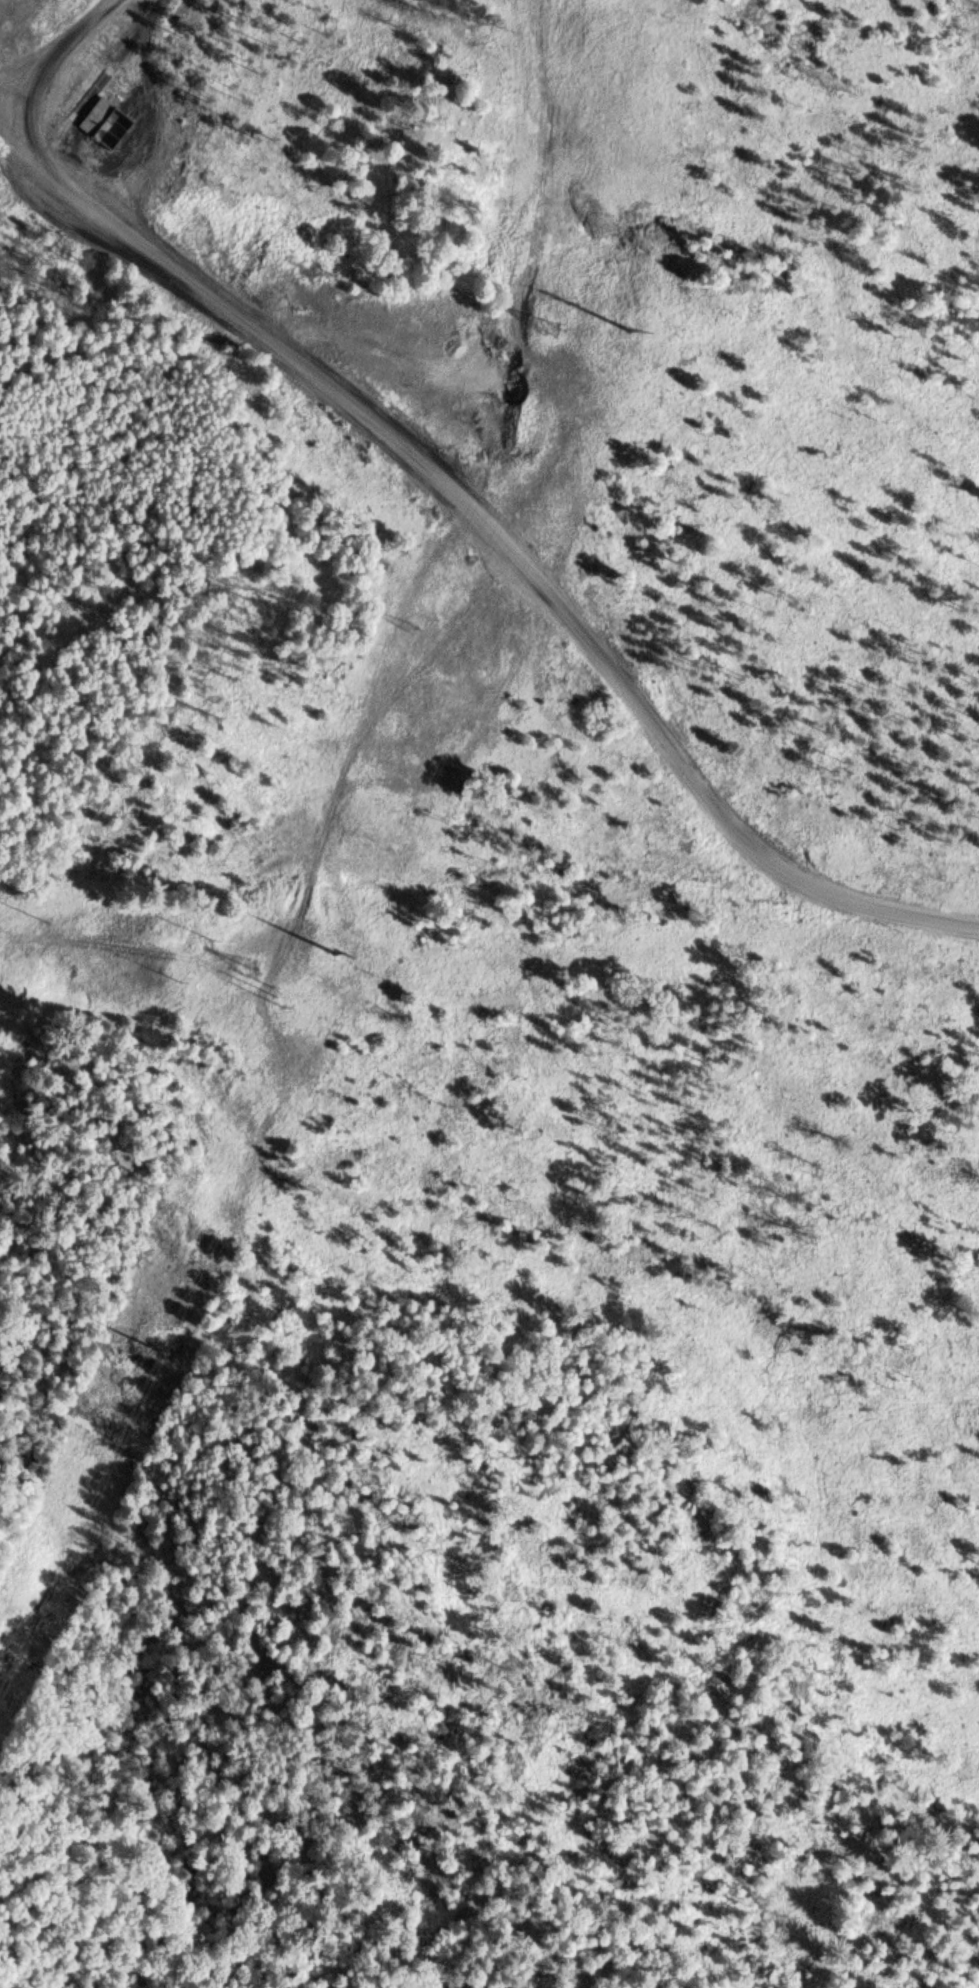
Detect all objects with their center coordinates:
road: (57, 53)
power tower: (656, 322)
power tower: (557, 328)
road: (494, 539)
power tower: (415, 628)
power tower: (351, 946)
power tower: (252, 971)

